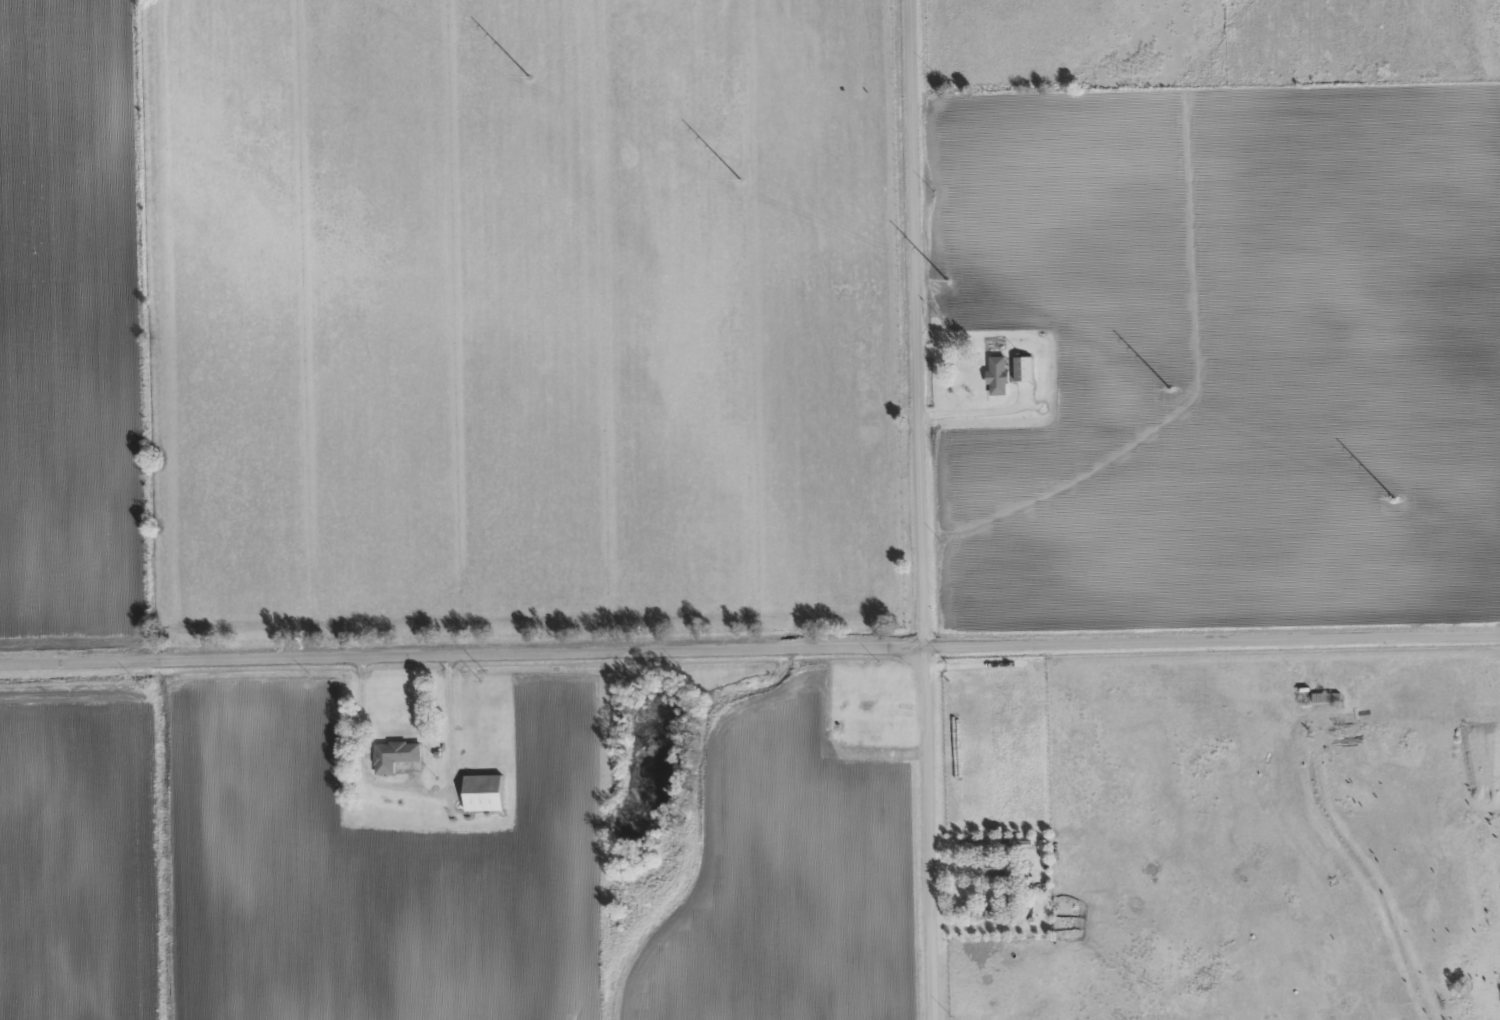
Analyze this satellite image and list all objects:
building: (1025, 369)
building: (999, 376)
road: (1000, 410)
road: (923, 510)
road: (750, 646)
road: (362, 741)
road: (895, 752)
building: (396, 756)
building: (486, 793)
road: (962, 888)

